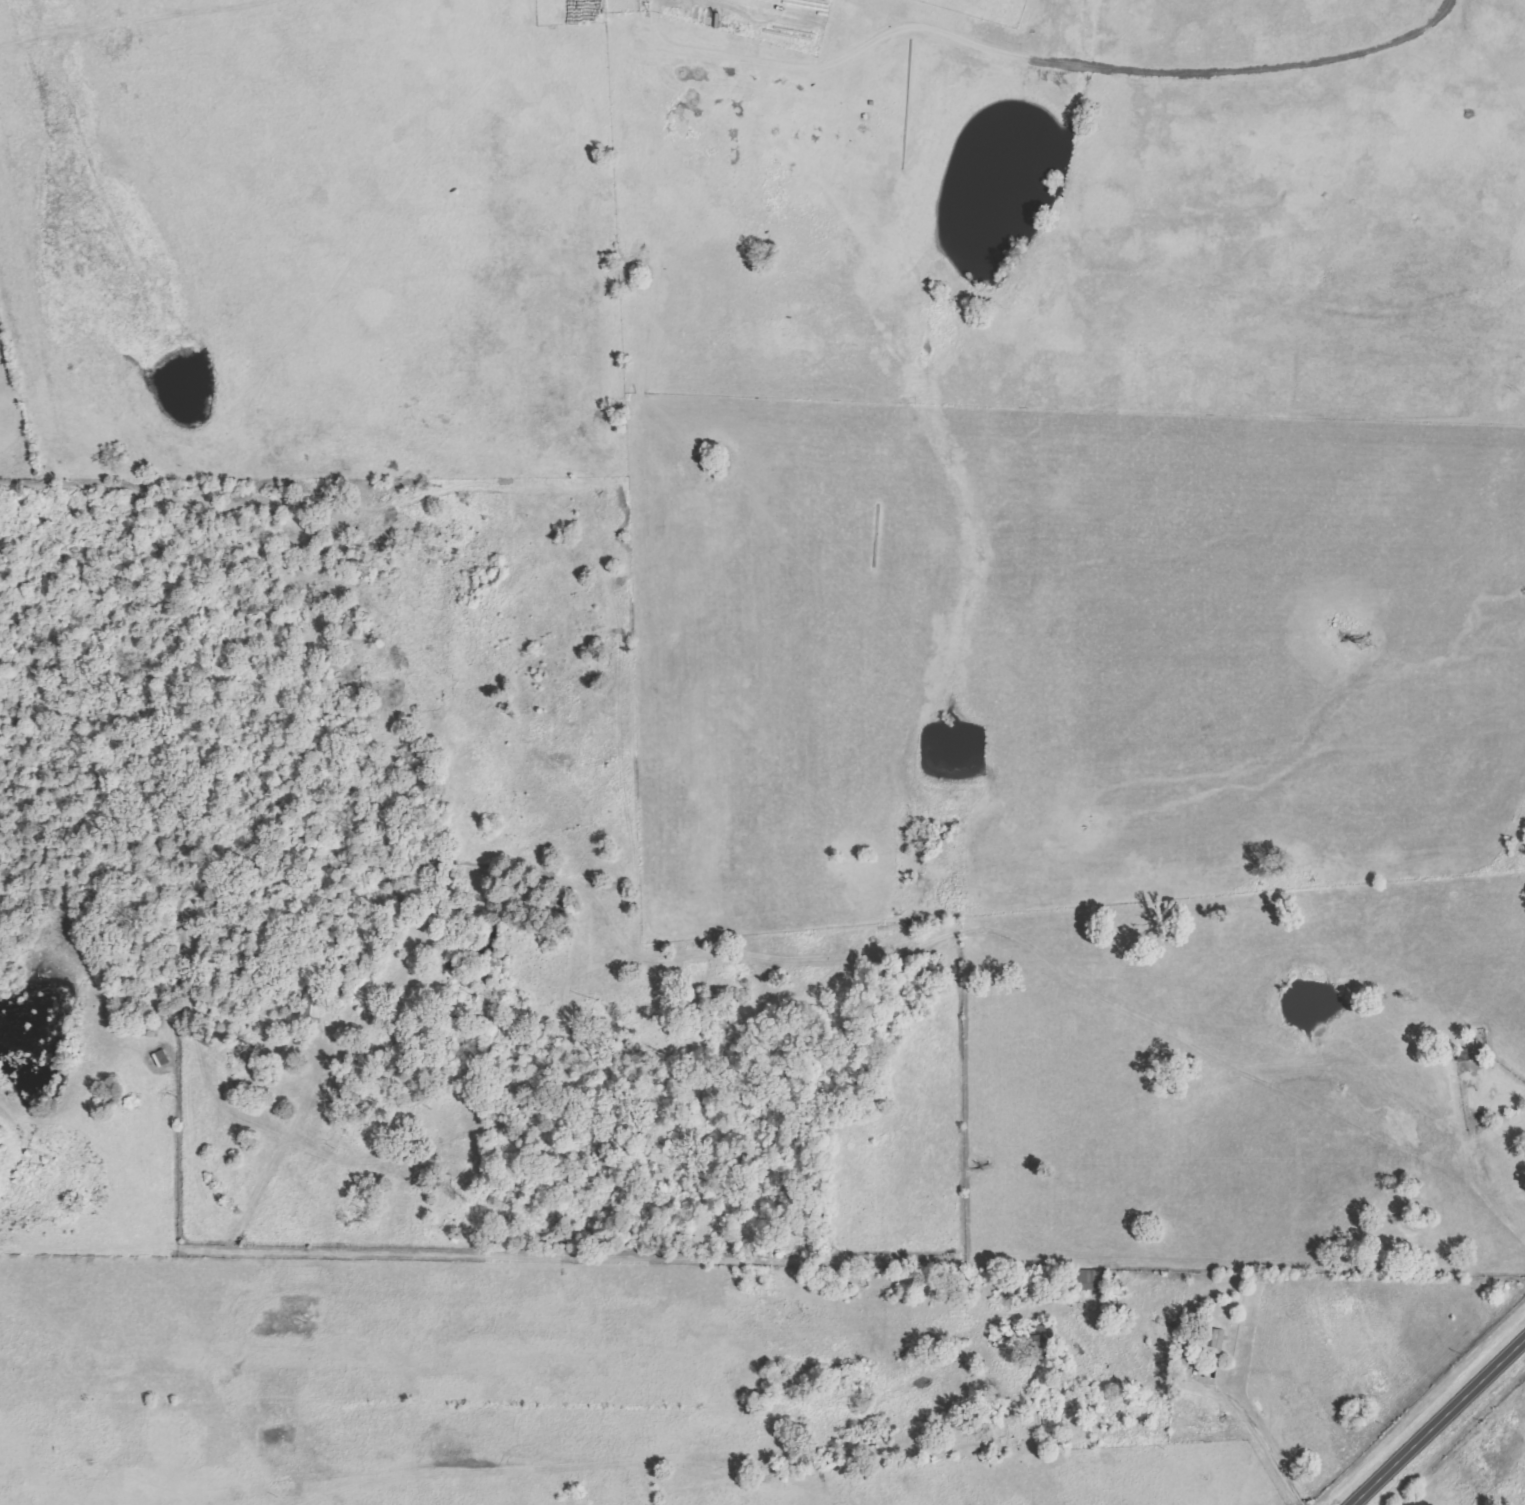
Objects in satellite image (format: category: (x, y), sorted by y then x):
road: (252, 178)
building: (1092, 1279)
building: (1207, 1339)
road: (1066, 1418)
road: (1440, 1423)

